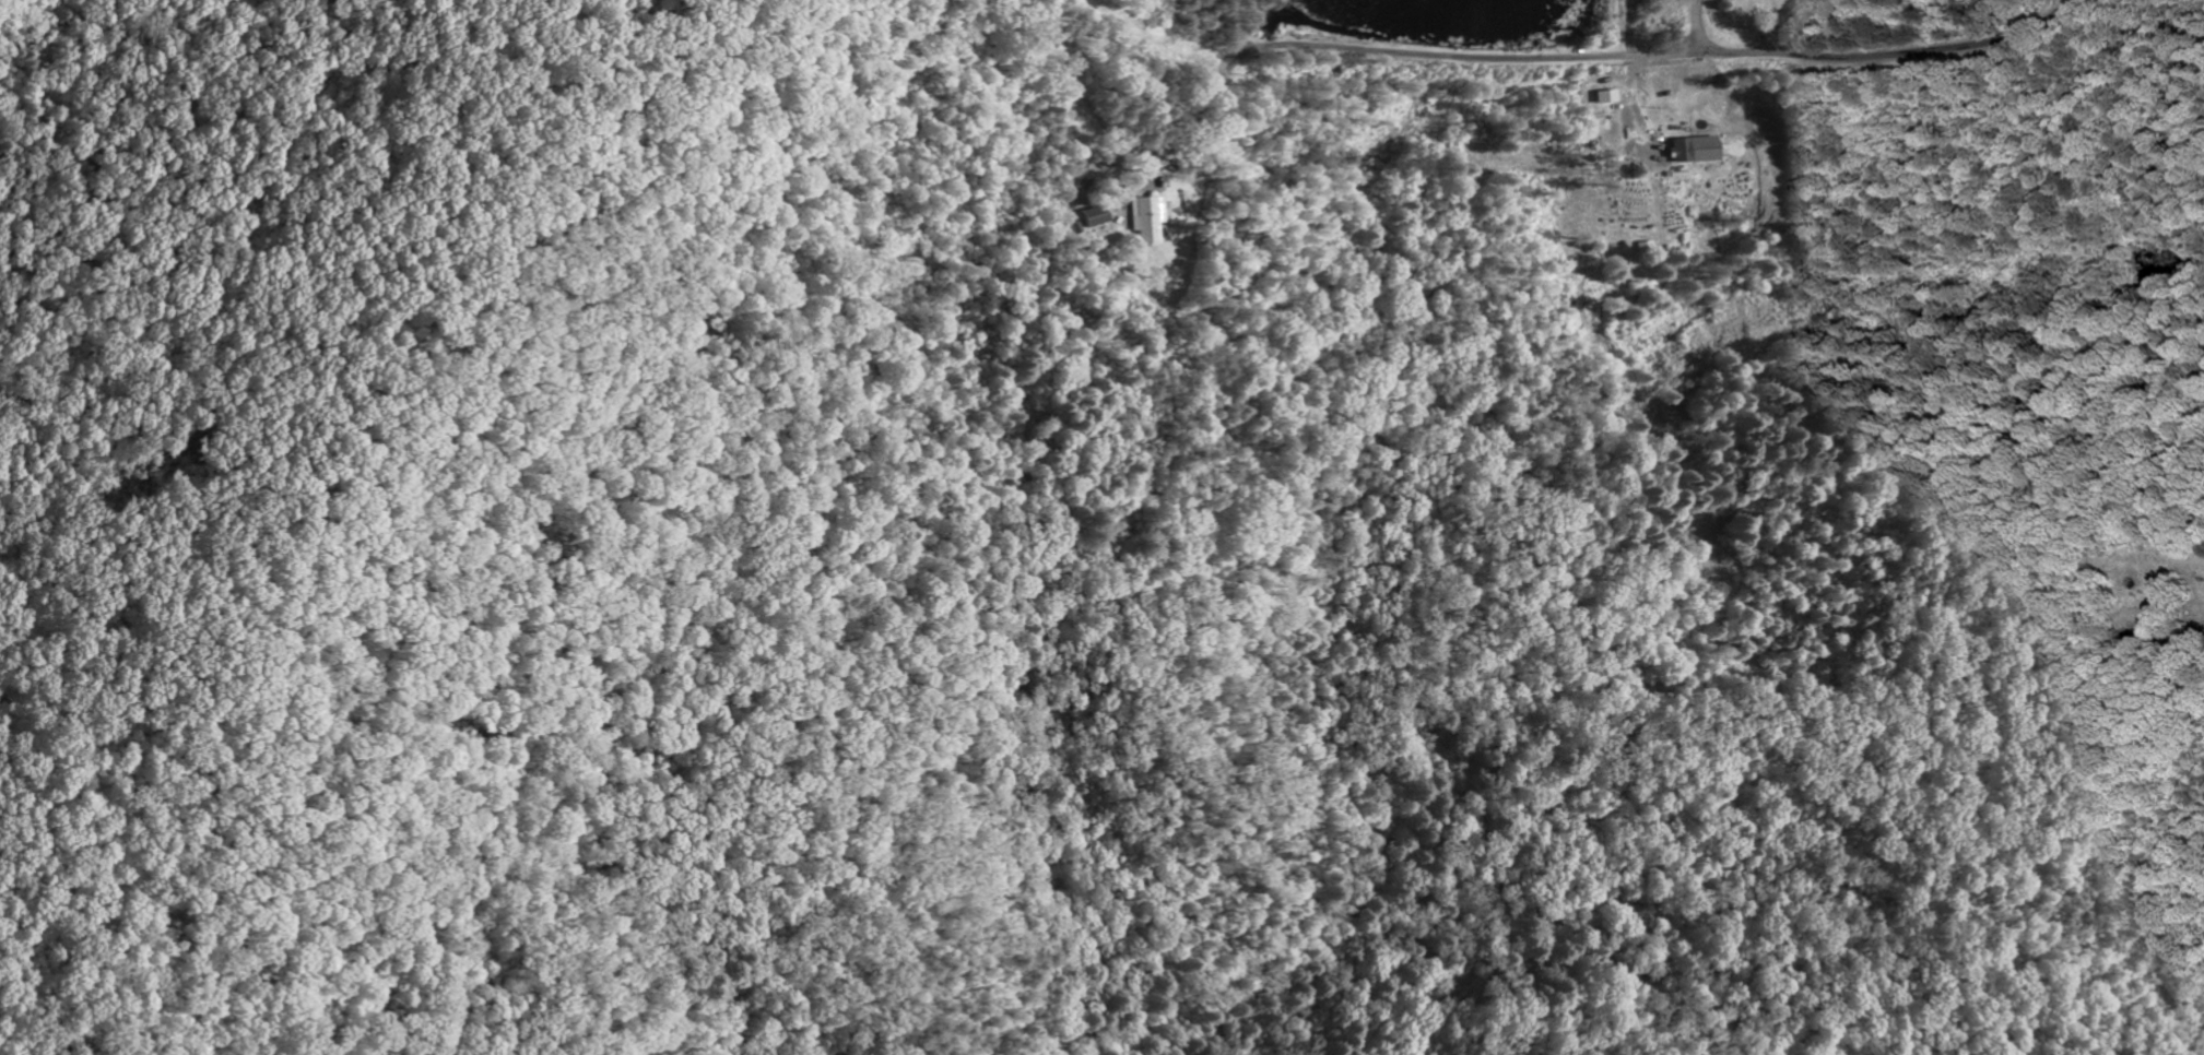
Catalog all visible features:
road: (1419, 56)
road: (1867, 56)
building: (1692, 150)
building: (1092, 216)
building: (1142, 220)

